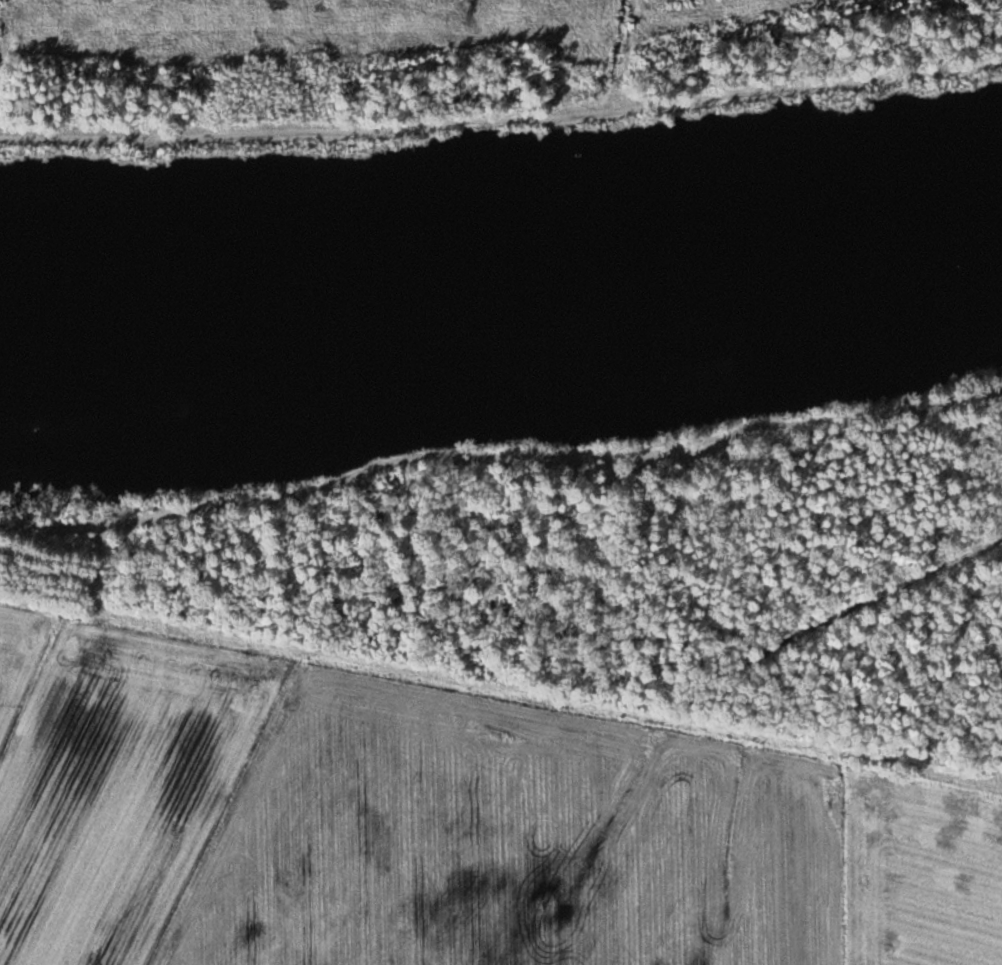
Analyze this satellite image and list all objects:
road: (818, 888)

